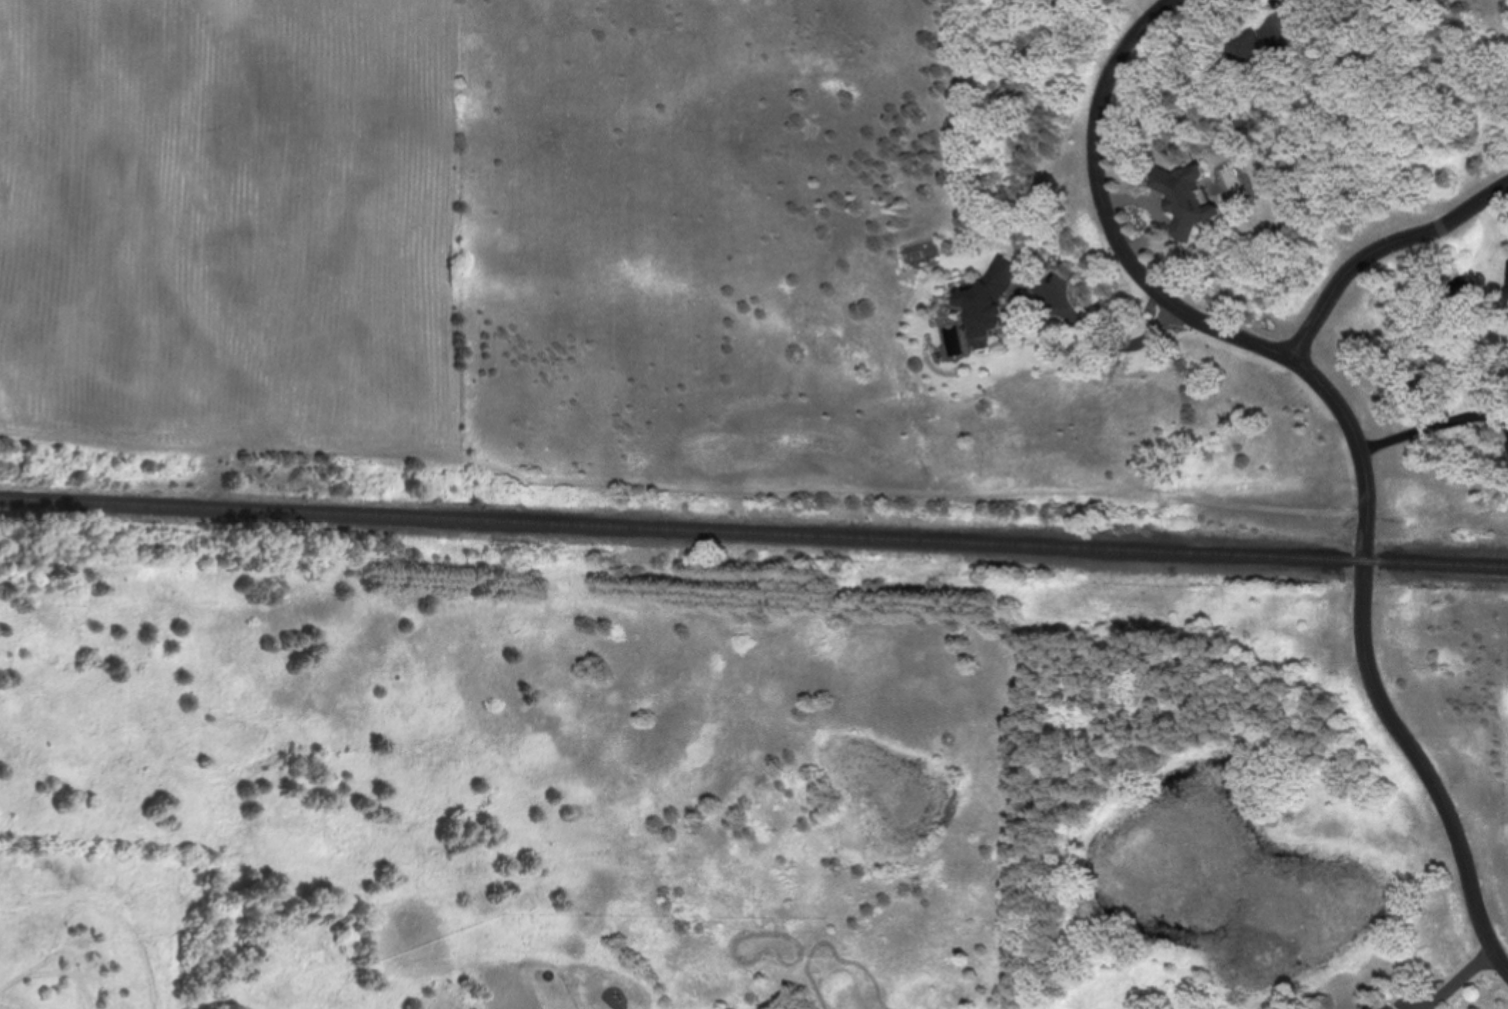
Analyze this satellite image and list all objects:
building: (1189, 198)
road: (1105, 213)
road: (1381, 254)
building: (993, 298)
road: (1111, 341)
road: (1432, 424)
road: (1370, 515)
railway: (753, 532)
road: (1456, 826)
road: (1450, 984)
building: (1391, 1007)

